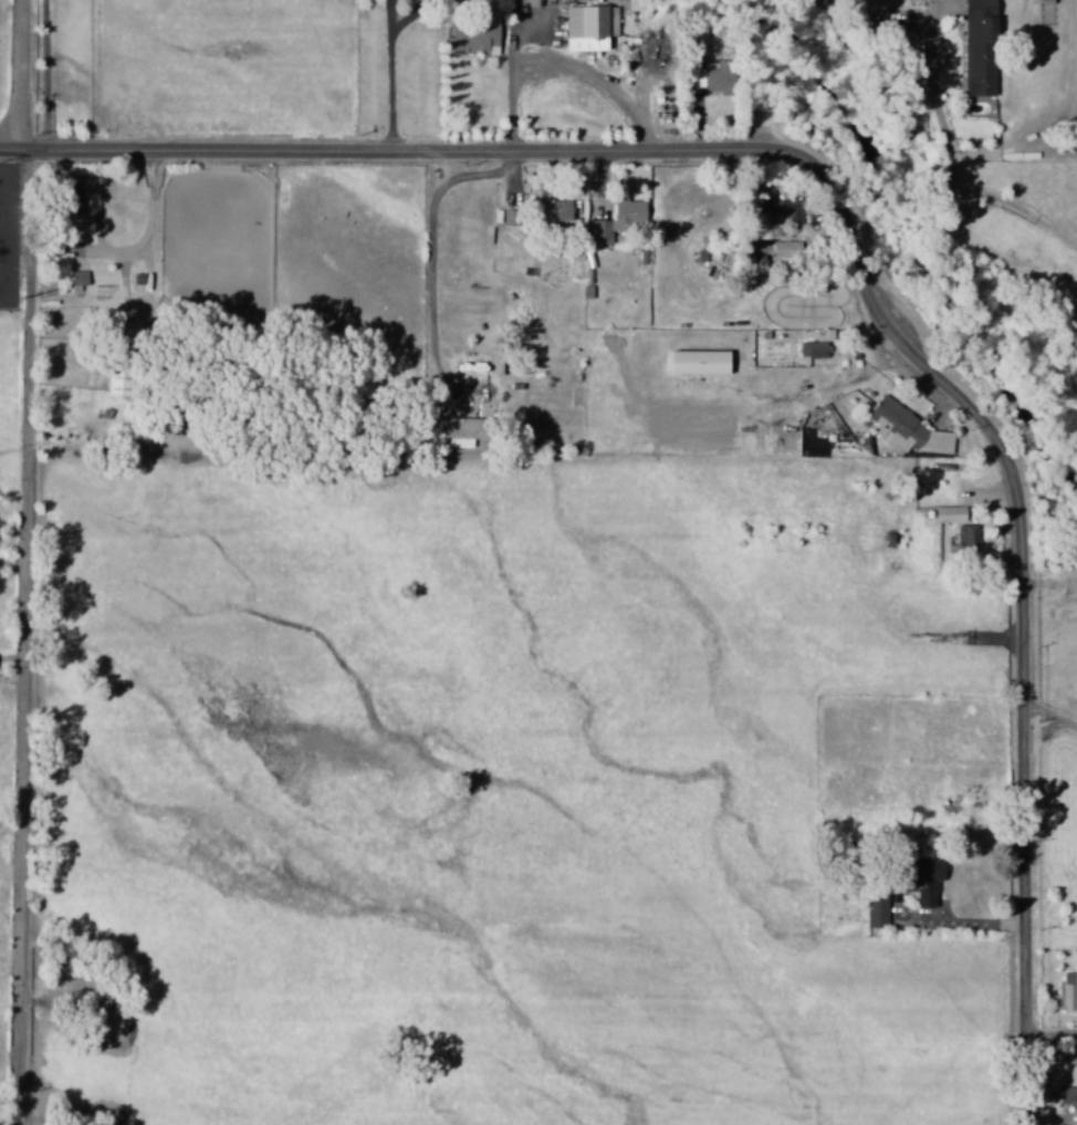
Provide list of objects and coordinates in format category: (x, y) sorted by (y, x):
building: (592, 28)
building: (479, 39)
building: (983, 48)
building: (653, 52)
road: (27, 77)
building: (722, 79)
road: (965, 196)
building: (562, 210)
building: (792, 212)
building: (620, 220)
building: (788, 250)
road: (857, 258)
building: (82, 278)
building: (818, 345)
building: (701, 363)
building: (909, 430)
building: (471, 433)
building: (765, 442)
building: (952, 514)
building: (968, 539)
road: (28, 638)
road: (1052, 716)
building: (932, 883)
building: (878, 912)
building: (1070, 993)
building: (1074, 1096)

